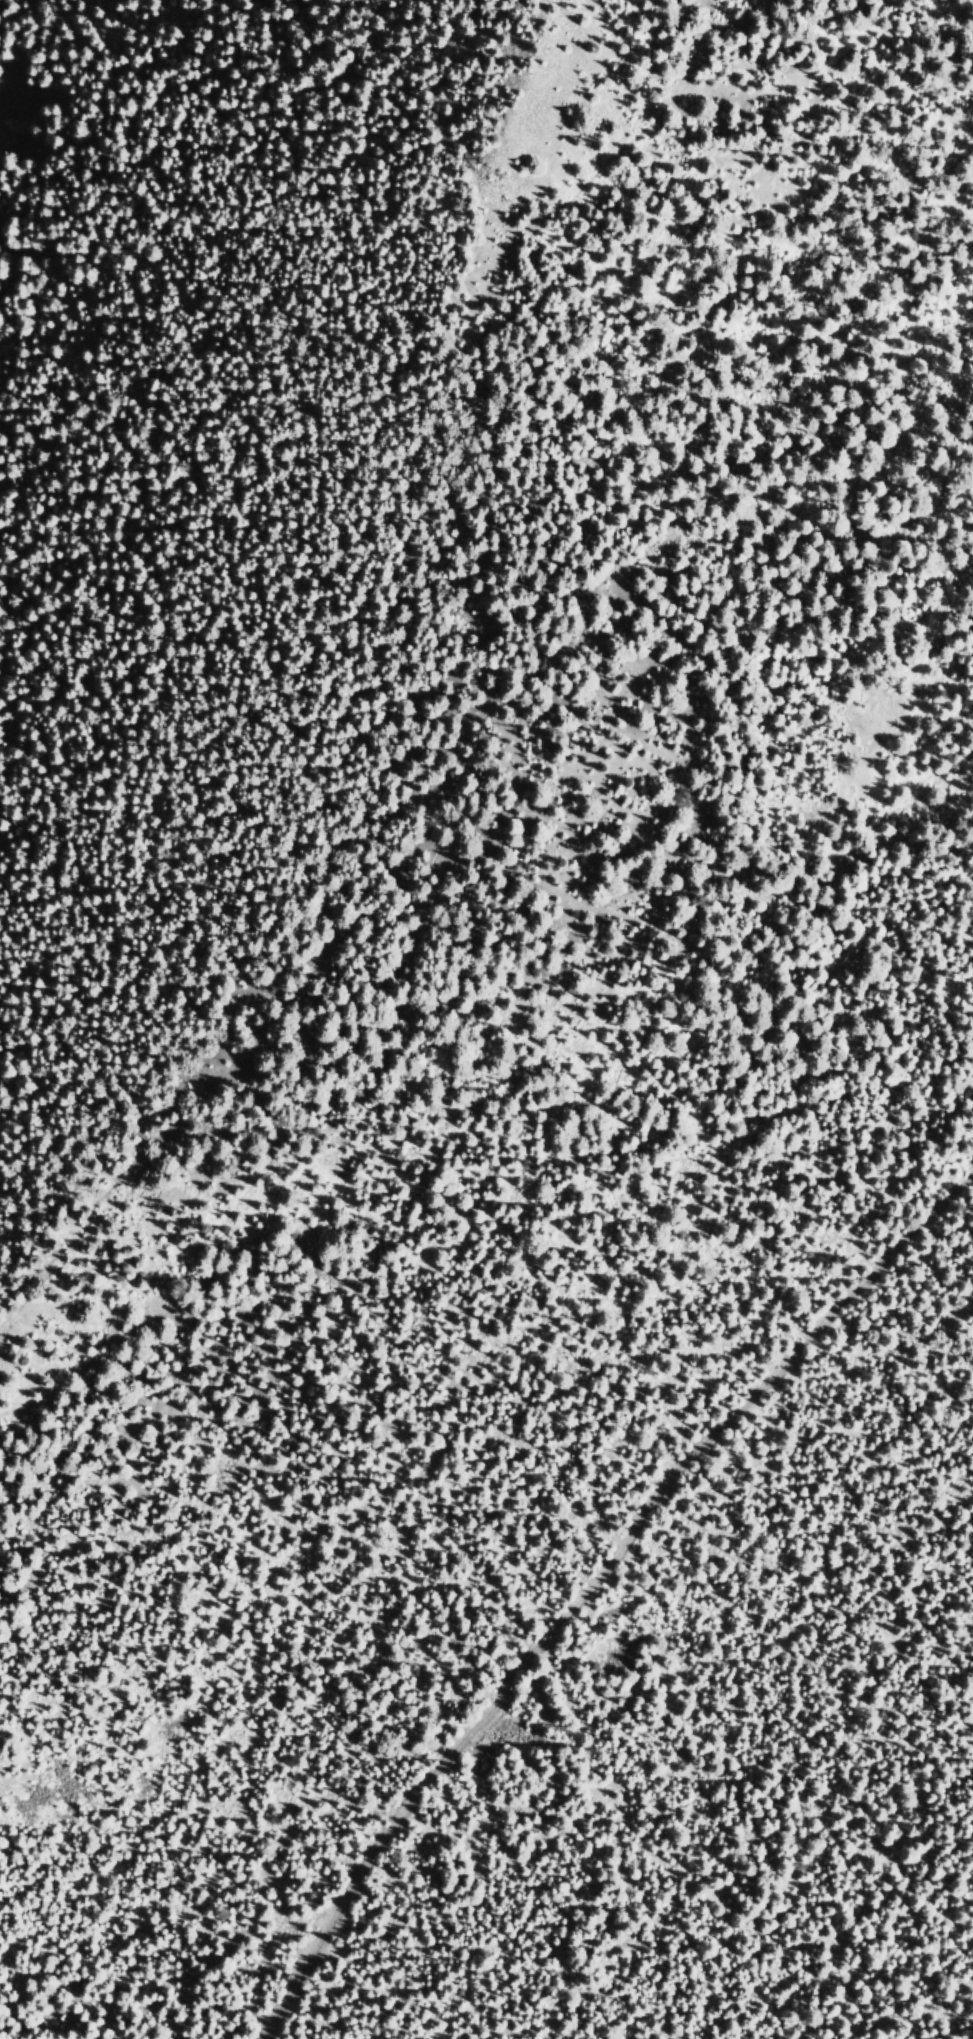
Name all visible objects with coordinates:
road: (445, 691)
road: (588, 1574)

